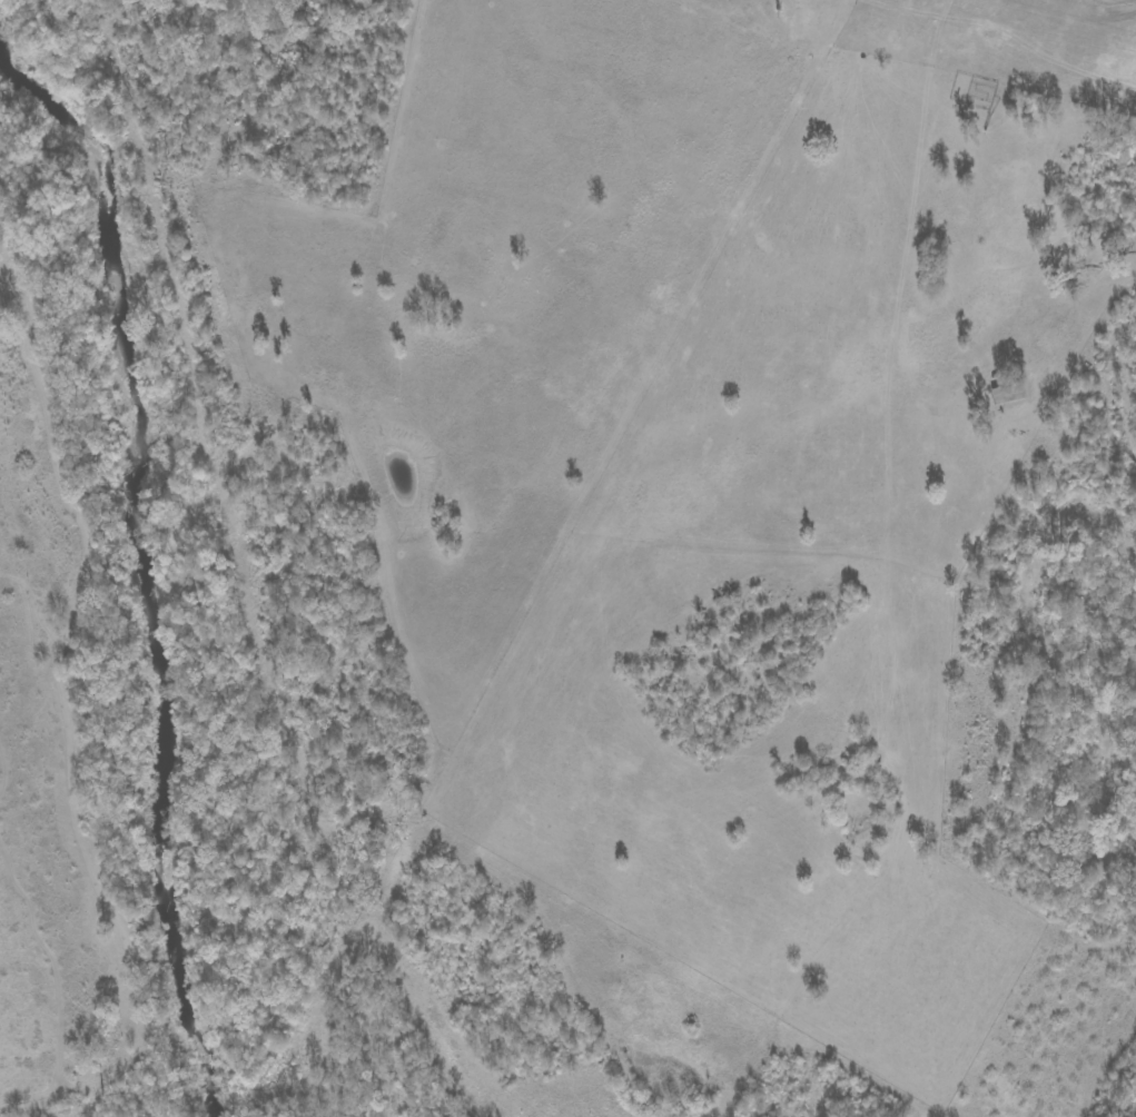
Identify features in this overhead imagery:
power tower: (789, 14)
road: (1048, 53)

